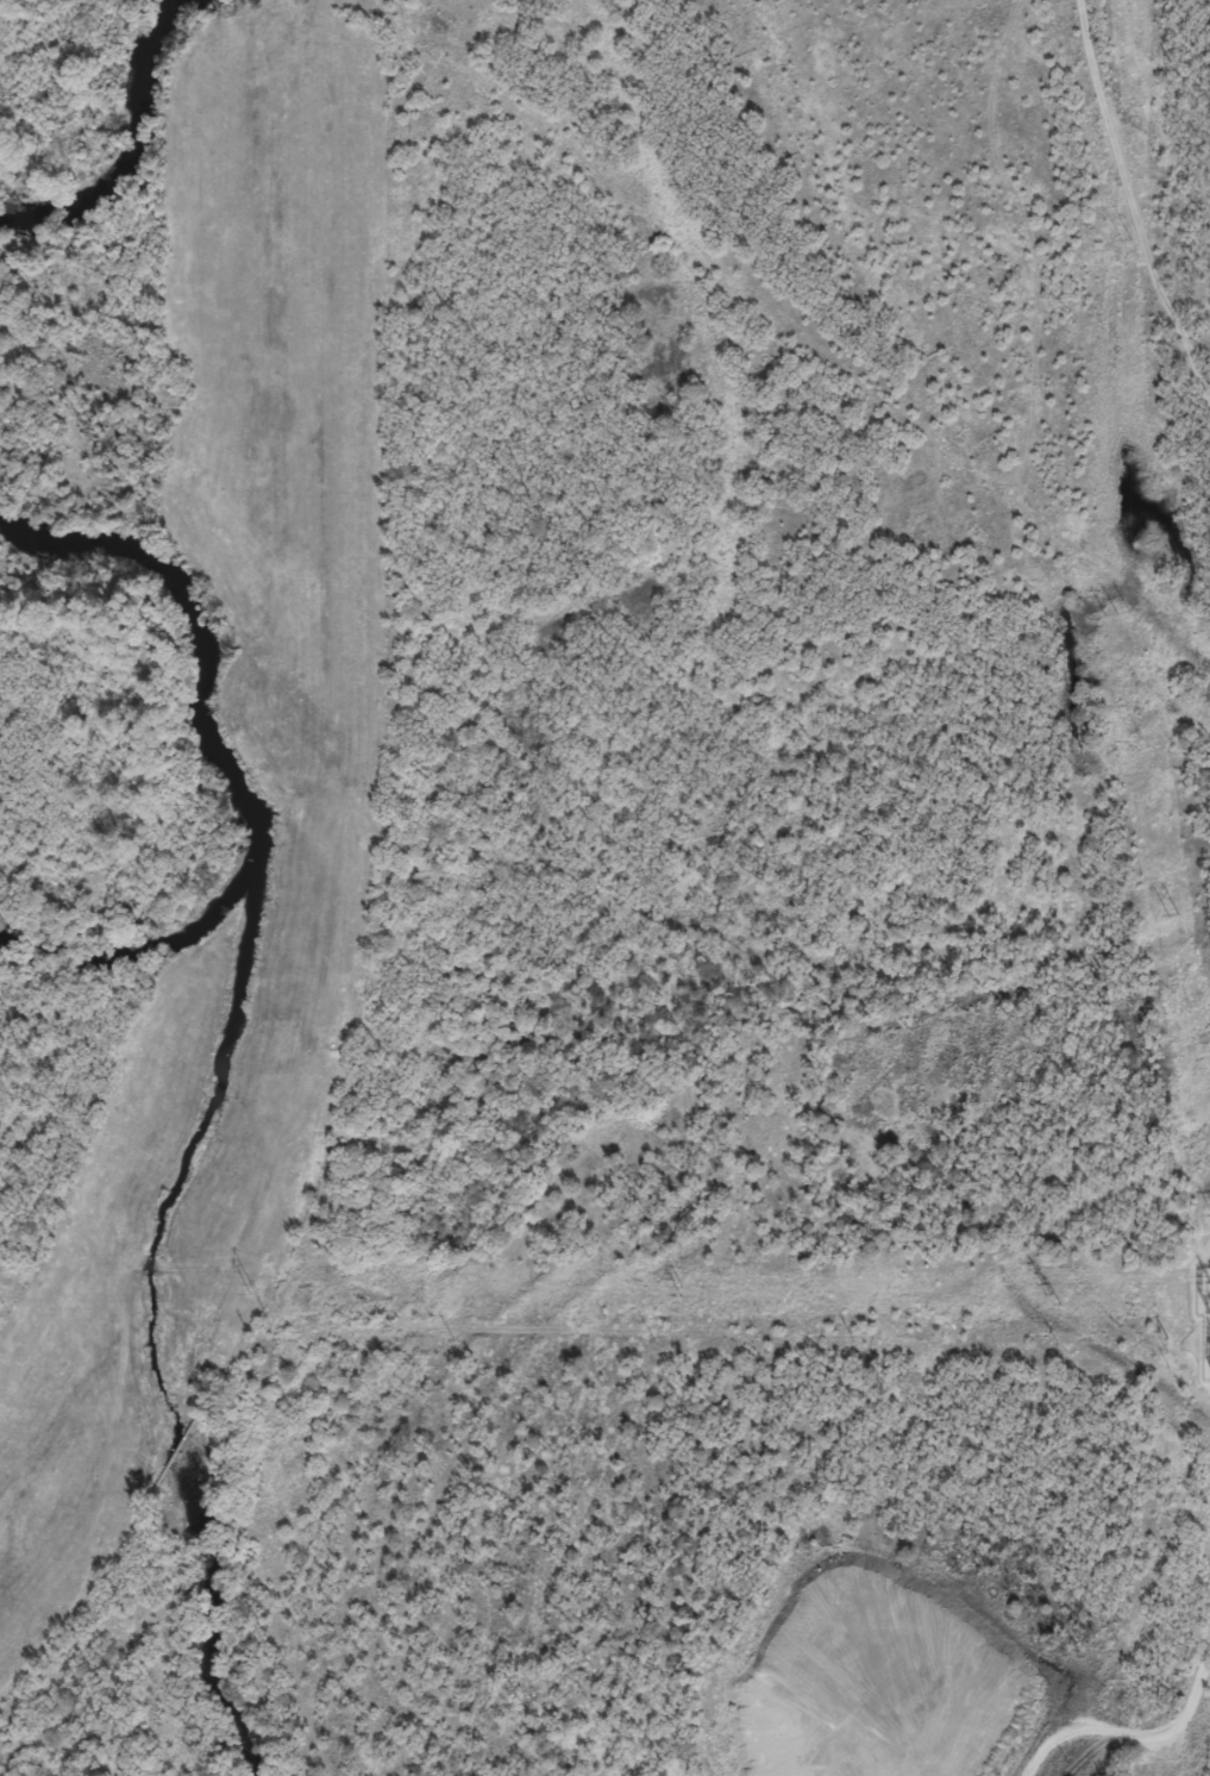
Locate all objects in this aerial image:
road: (1137, 200)
power tower: (1124, 240)
power tower: (1116, 613)
power tower: (1171, 915)
power tower: (250, 1289)
power tower: (681, 1292)
power tower: (1051, 1293)
power substation: (1204, 1317)

